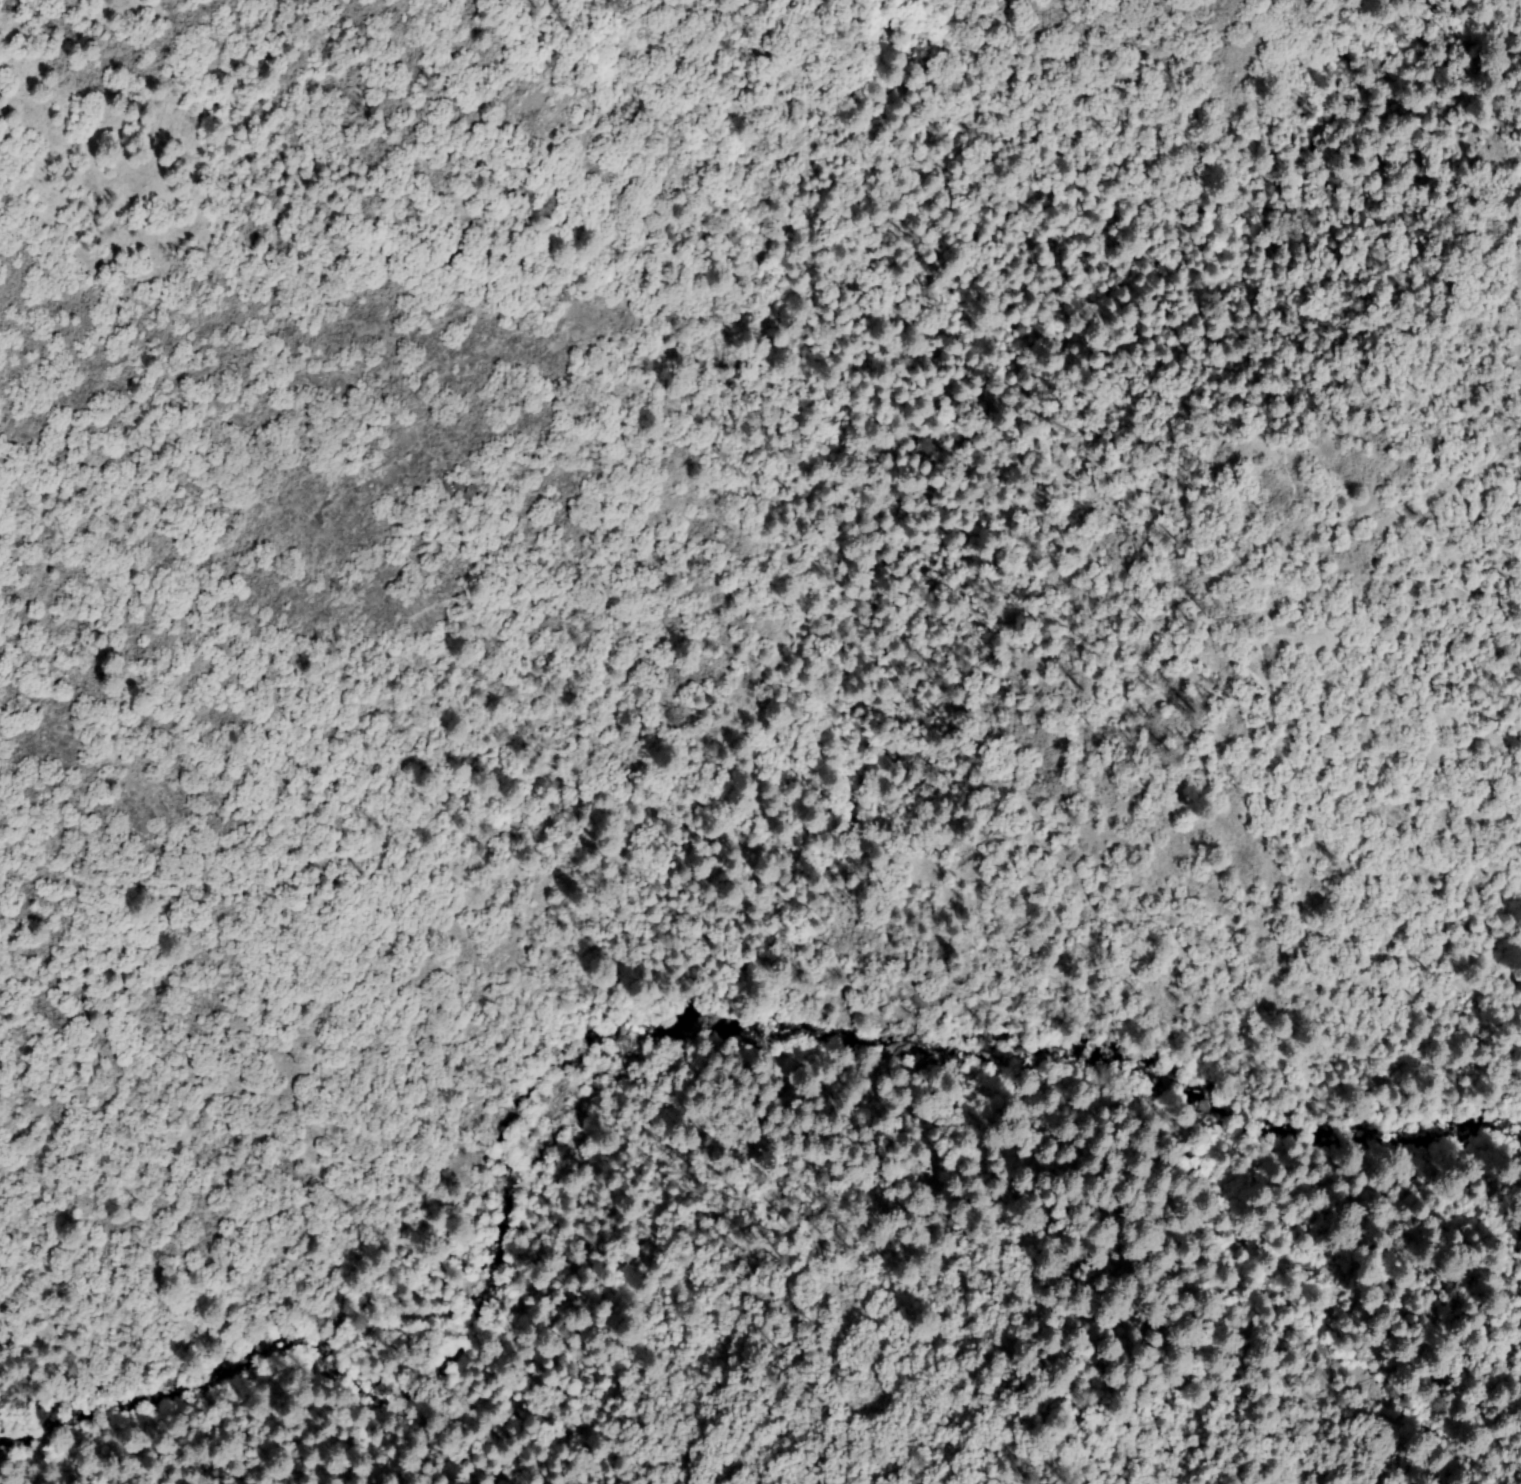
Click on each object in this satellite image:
road: (1158, 39)
river: (686, 1031)

